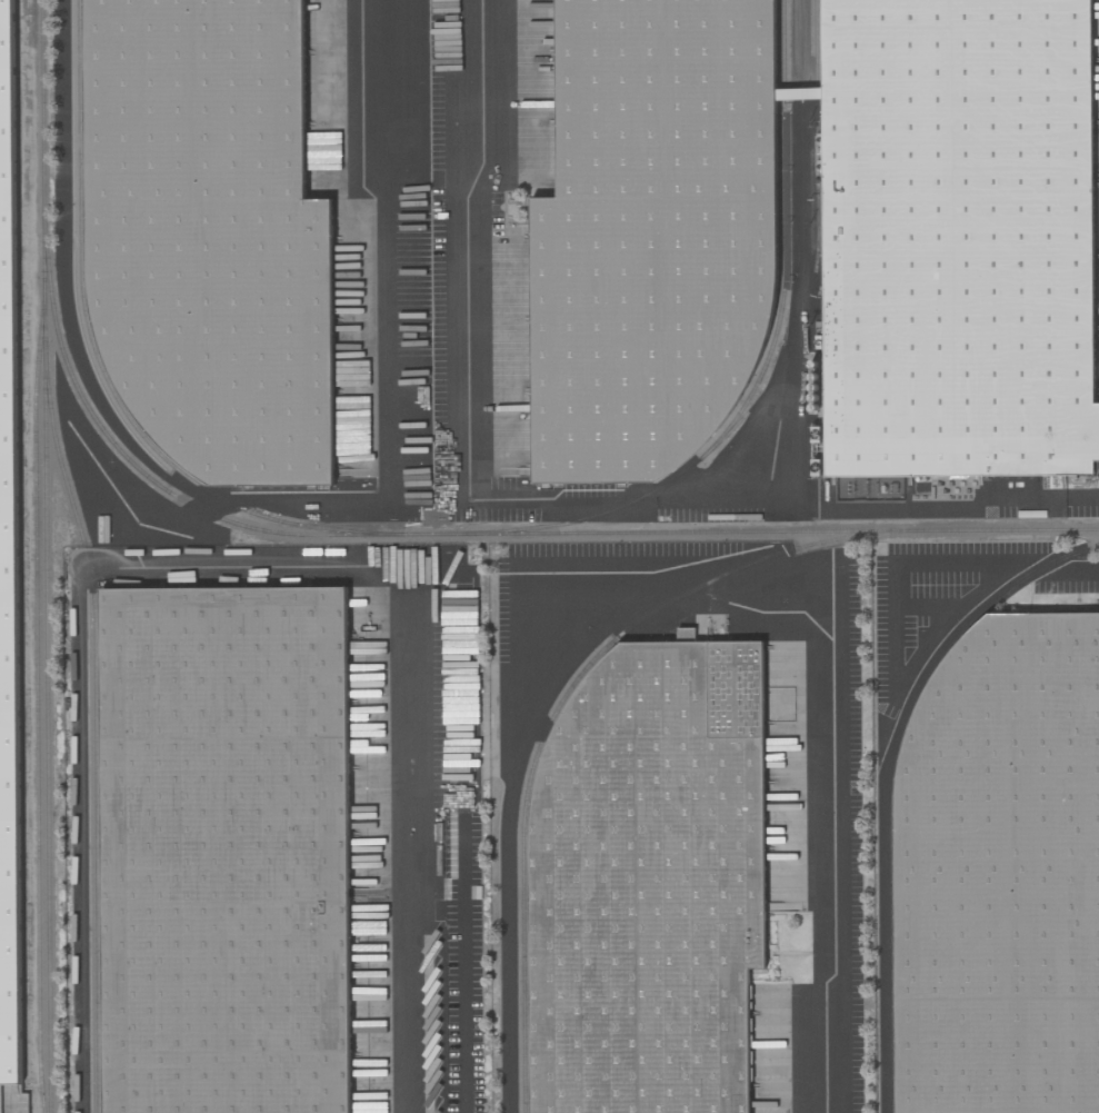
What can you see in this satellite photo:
building: (651, 235)
building: (209, 236)
railway: (816, 238)
building: (957, 239)
road: (387, 245)
railway: (767, 356)
railway: (97, 359)
road: (456, 394)
railway: (141, 473)
road: (925, 505)
railway: (742, 531)
railway: (43, 556)
road: (1087, 569)
building: (8, 570)
road: (679, 587)
railway: (34, 706)
railway: (557, 709)
railway: (91, 733)
railway: (889, 779)
building: (224, 851)
road: (410, 856)
building: (647, 873)
building: (1000, 874)
road: (463, 1011)

